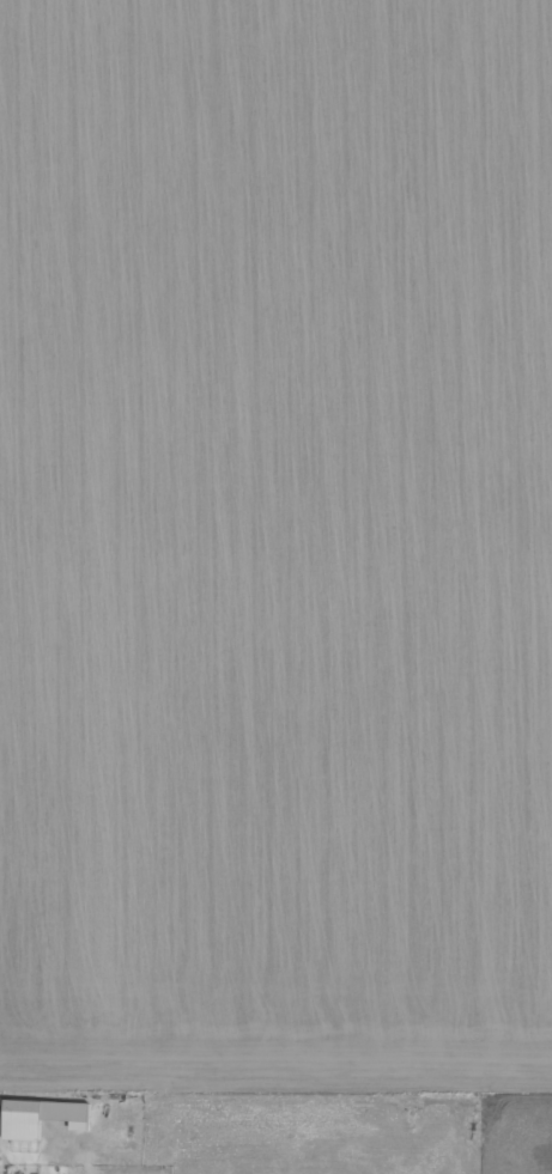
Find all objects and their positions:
building: (38, 1115)

